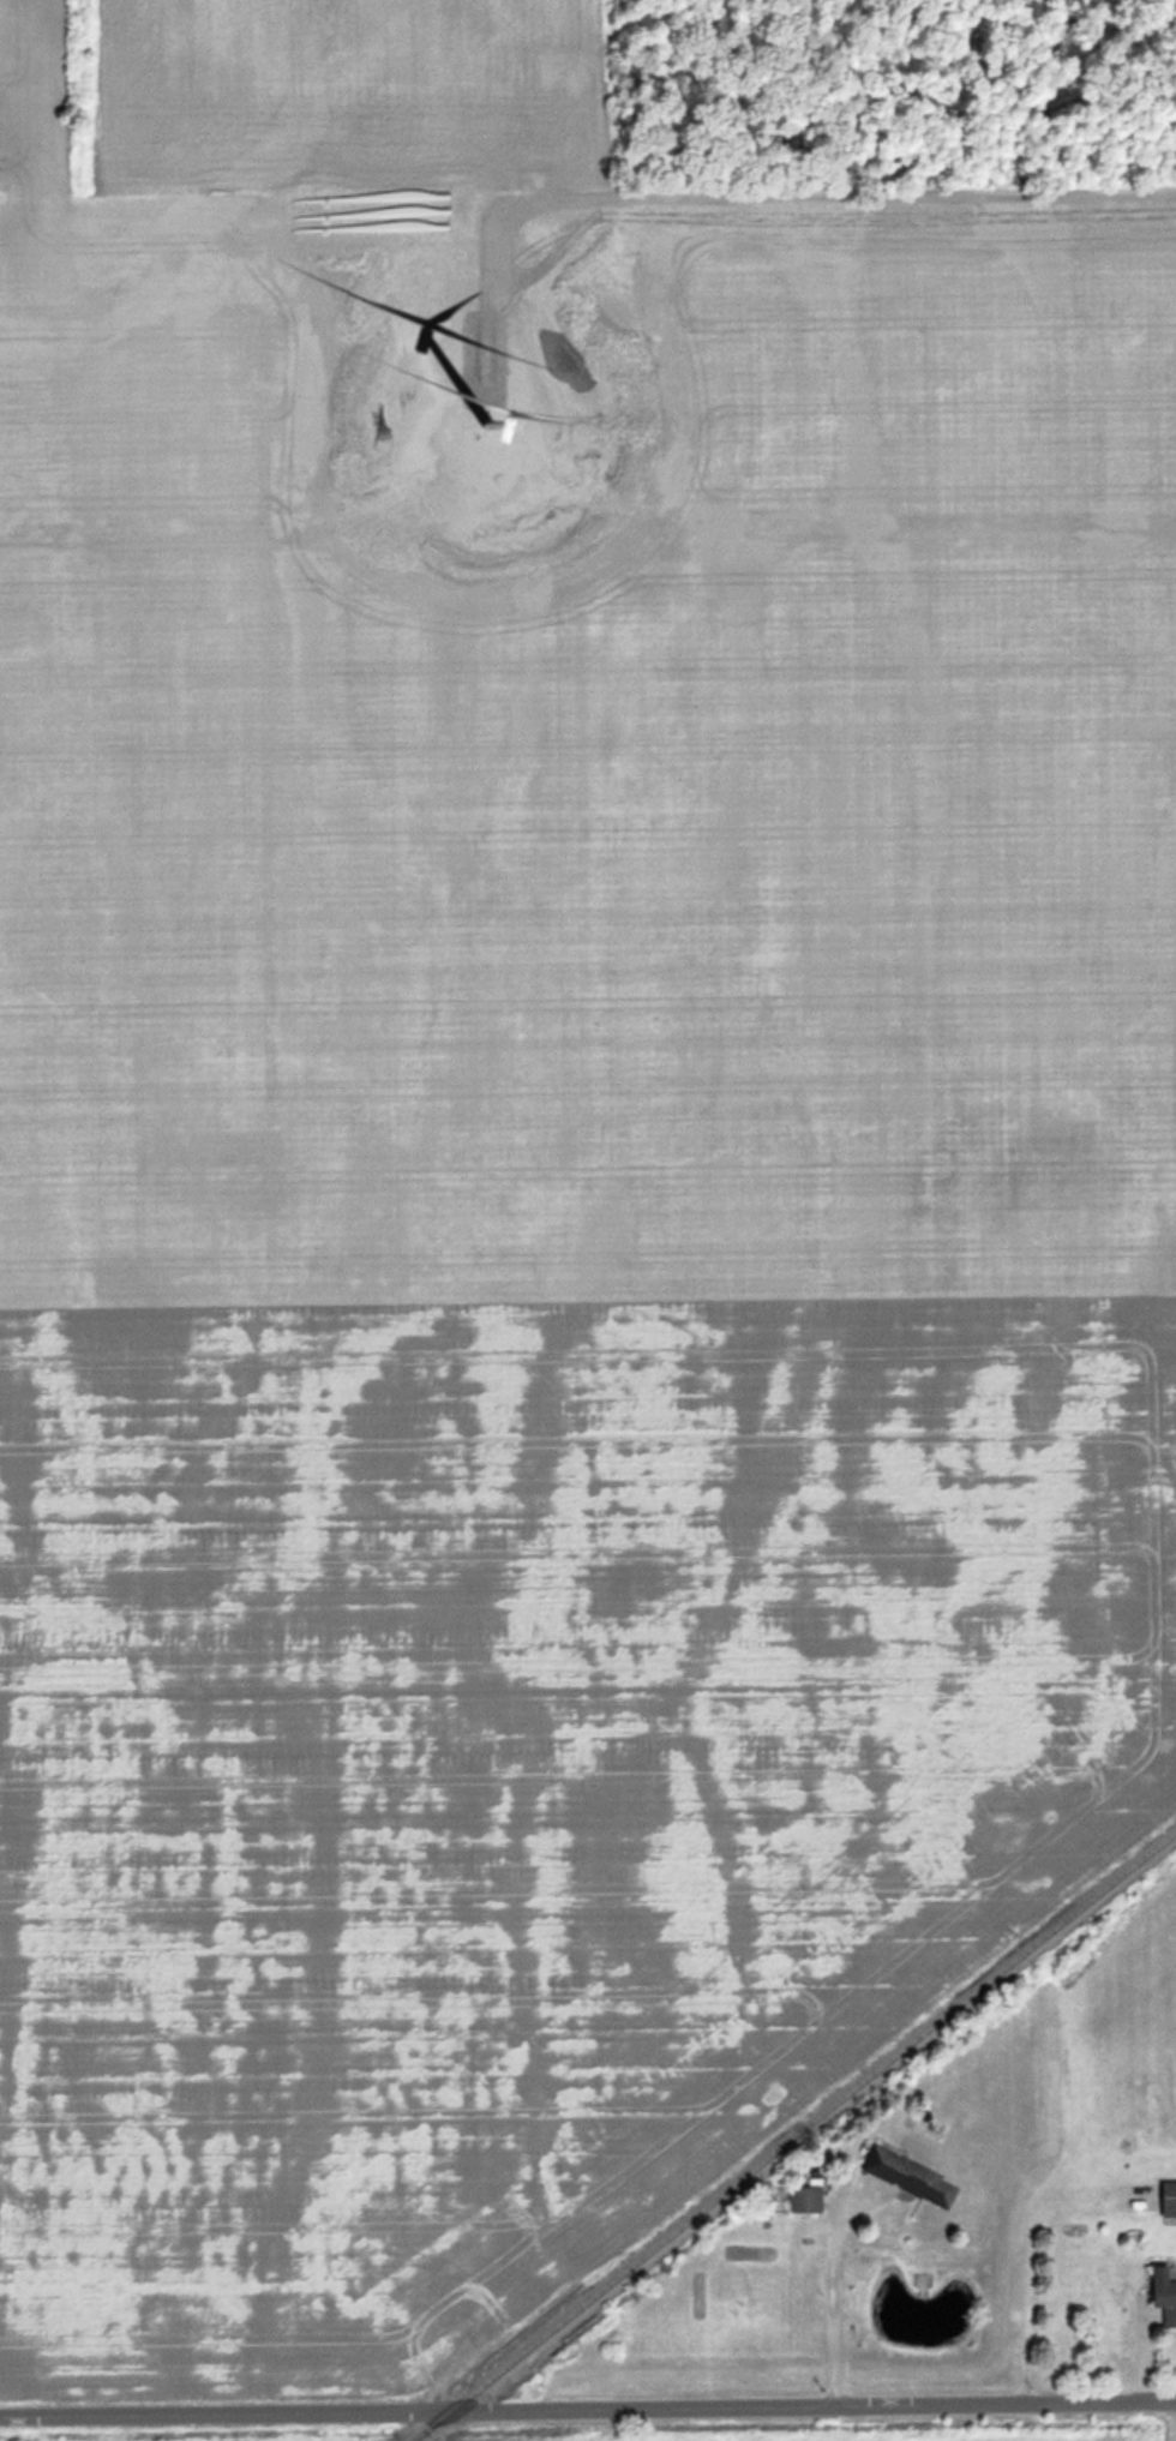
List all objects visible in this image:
wind turbine: (484, 418)
railway: (794, 2136)
building: (912, 2175)
building: (808, 2196)
building: (1165, 2291)
road: (830, 2301)
road: (587, 2409)
railway: (414, 2439)

